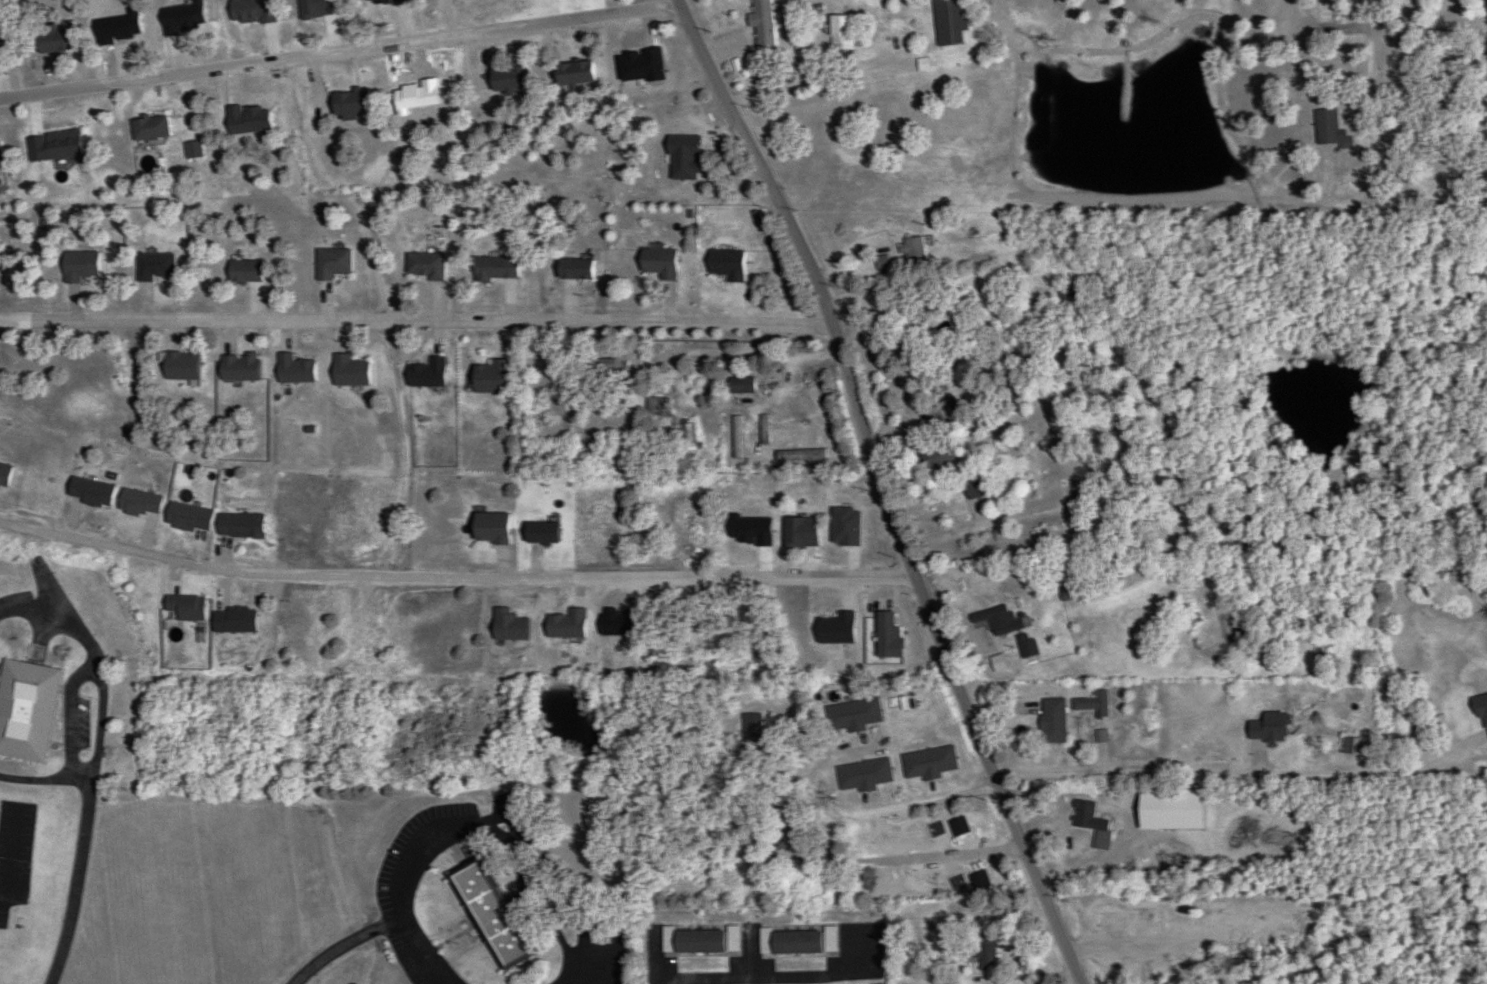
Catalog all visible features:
road: (1366, 2)
building: (762, 22)
building: (949, 25)
building: (839, 31)
building: (53, 42)
road: (341, 50)
building: (572, 74)
building: (507, 78)
building: (1338, 79)
road: (808, 83)
building: (348, 103)
building: (1325, 126)
building: (148, 127)
building: (52, 144)
building: (913, 250)
building: (1080, 287)
road: (927, 289)
building: (916, 315)
road: (483, 324)
road: (752, 356)
building: (608, 371)
building: (656, 407)
building: (945, 410)
building: (686, 434)
building: (937, 457)
building: (974, 489)
road: (884, 490)
road: (957, 531)
road: (443, 578)
building: (1066, 593)
building: (995, 620)
building: (1026, 646)
building: (1092, 703)
road: (104, 708)
building: (25, 709)
building: (1051, 721)
building: (1353, 746)
road: (912, 804)
road: (476, 823)
building: (784, 826)
building: (1099, 835)
road: (10, 857)
road: (74, 882)
building: (492, 916)
building: (828, 938)
building: (732, 939)
building: (690, 941)
building: (787, 942)
road: (348, 949)
building: (983, 953)
road: (655, 963)

